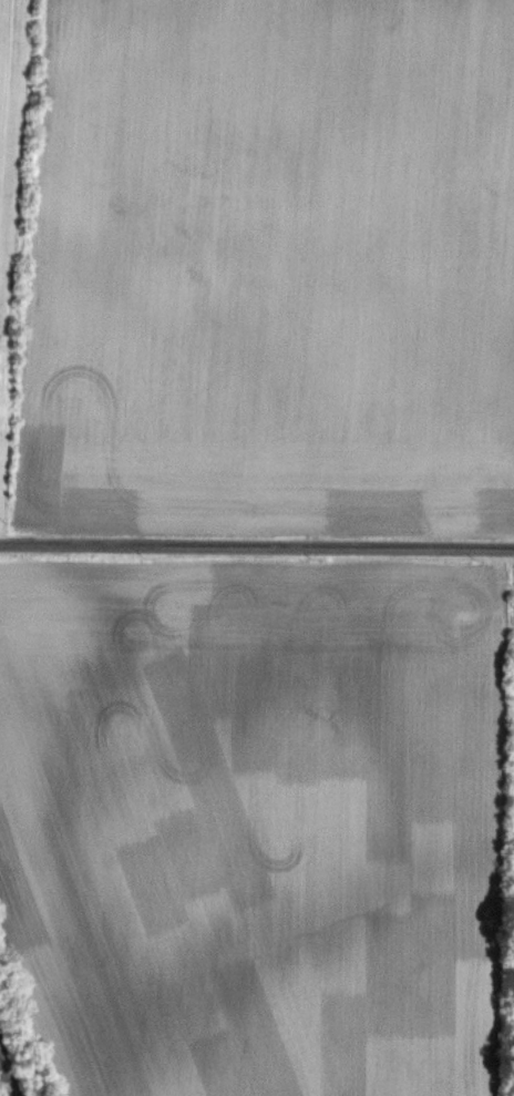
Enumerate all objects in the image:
road: (256, 547)
railway: (9, 1071)

